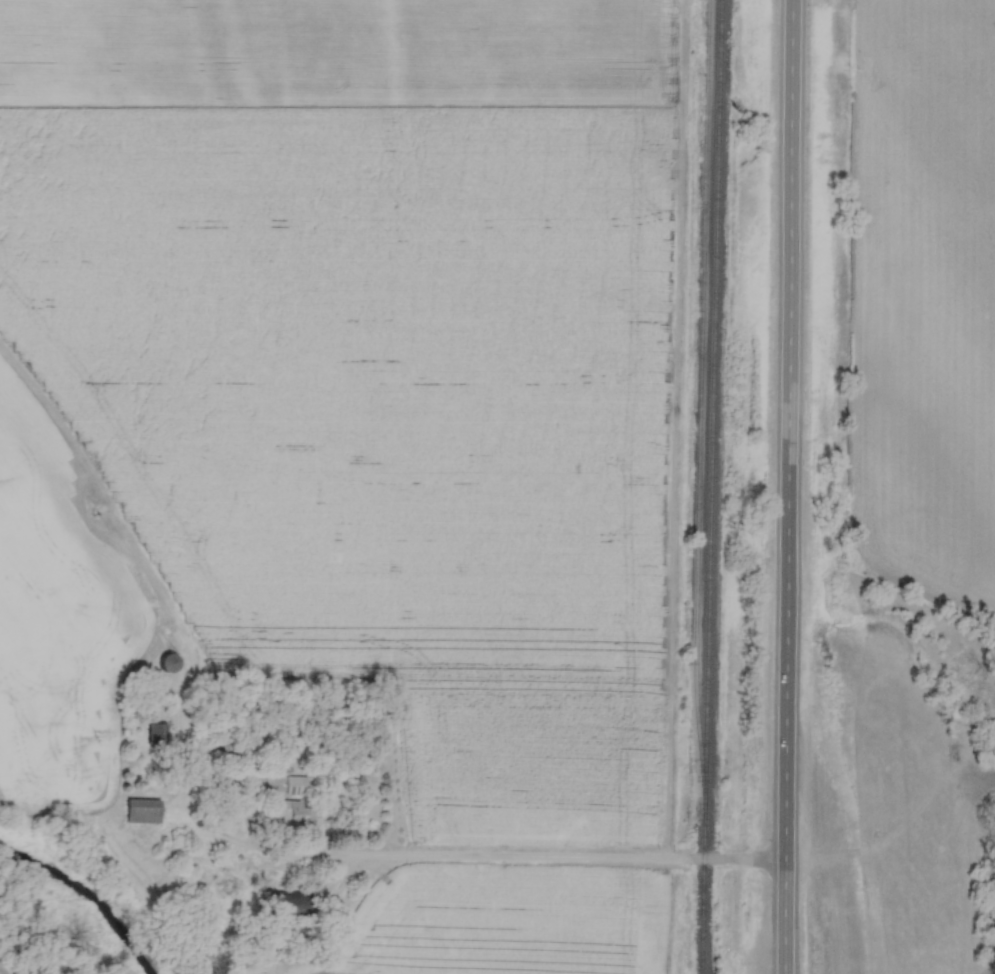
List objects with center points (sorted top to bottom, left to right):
railway: (699, 391)
railway: (709, 487)
road: (786, 487)
building: (168, 663)
building: (158, 733)
building: (230, 752)
building: (297, 785)
building: (142, 811)
building: (297, 813)
road: (489, 860)
river: (82, 901)

